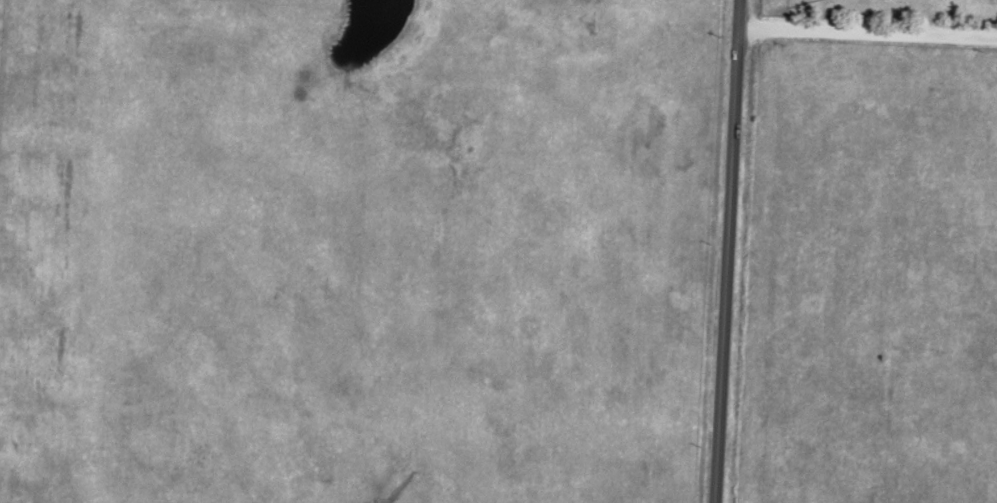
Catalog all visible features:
road: (873, 46)
road: (739, 251)

